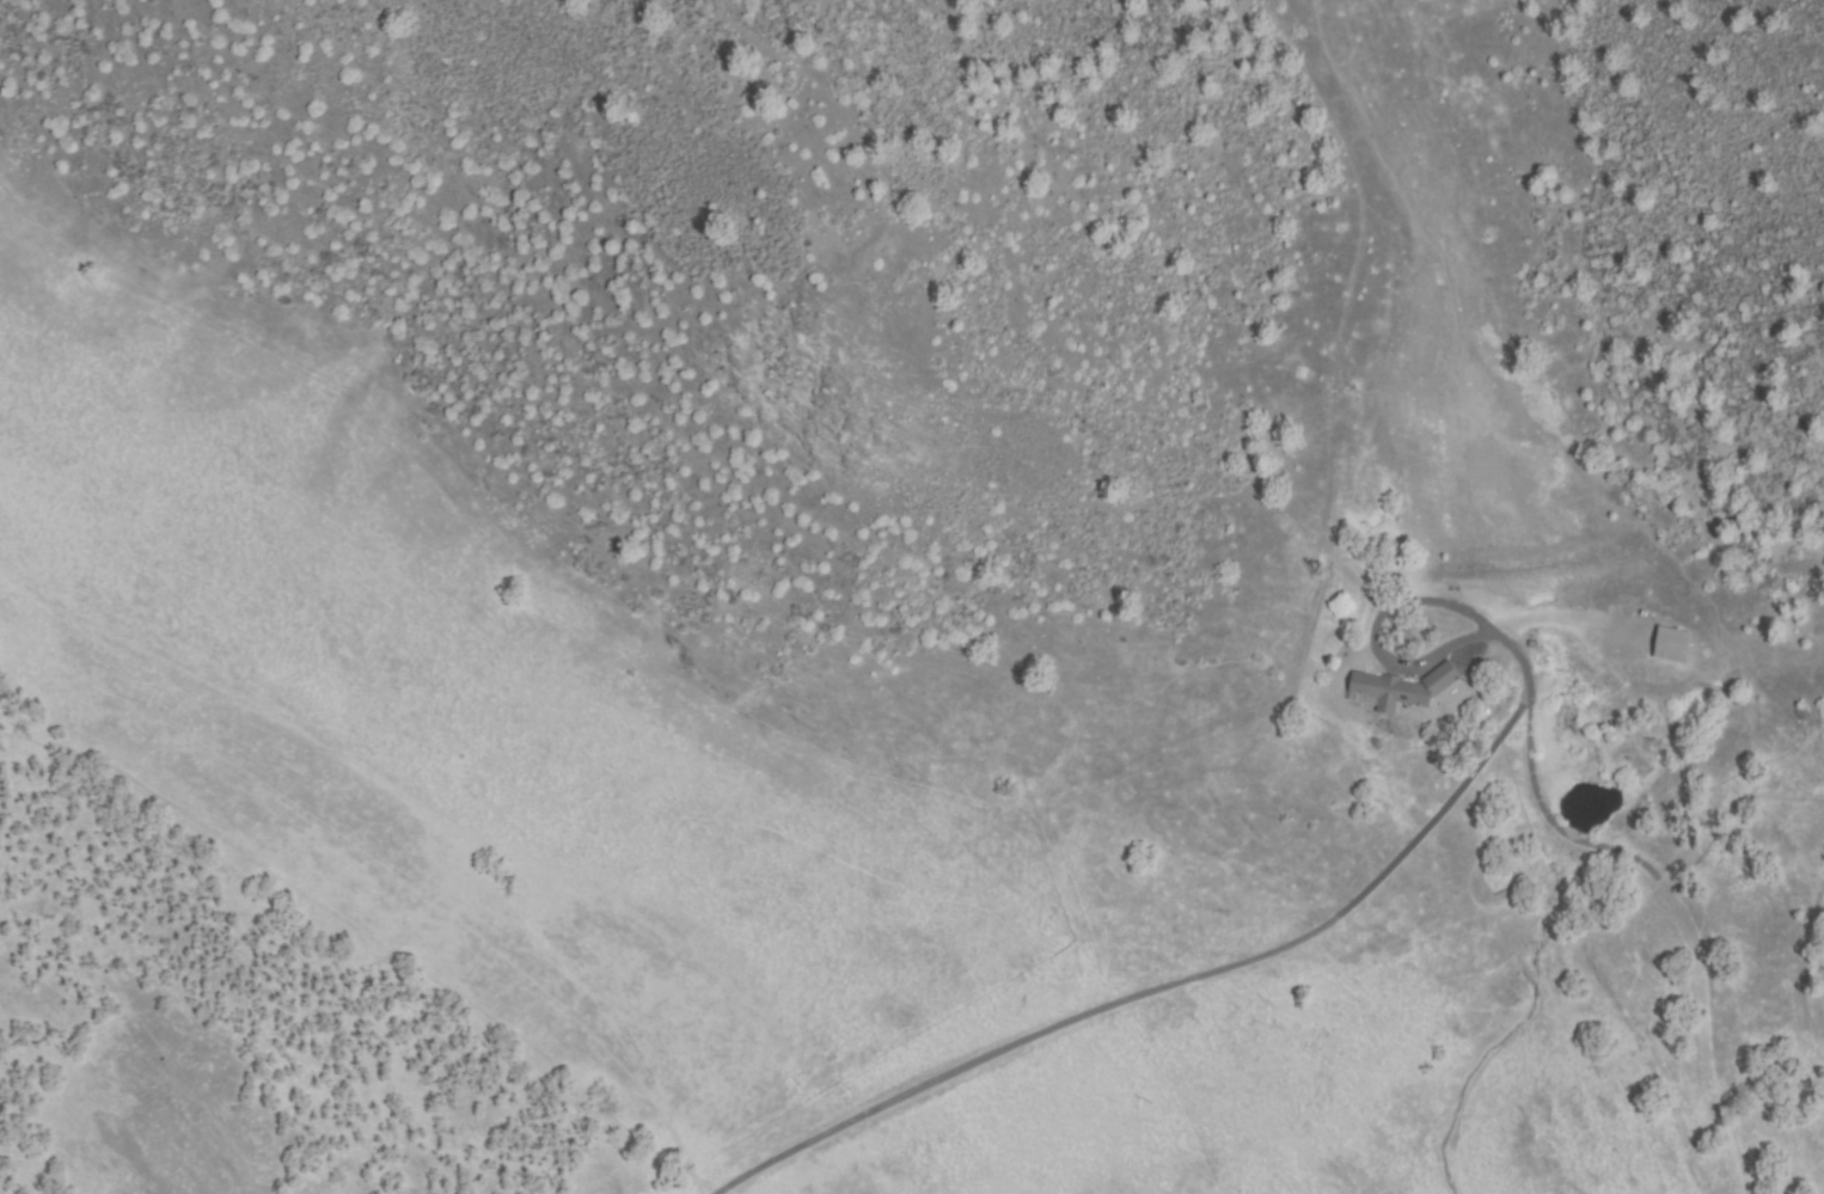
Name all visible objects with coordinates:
building: (1534, 644)
building: (1672, 645)
building: (1402, 687)
road: (1151, 982)
road: (250, 1186)
road: (733, 1192)

